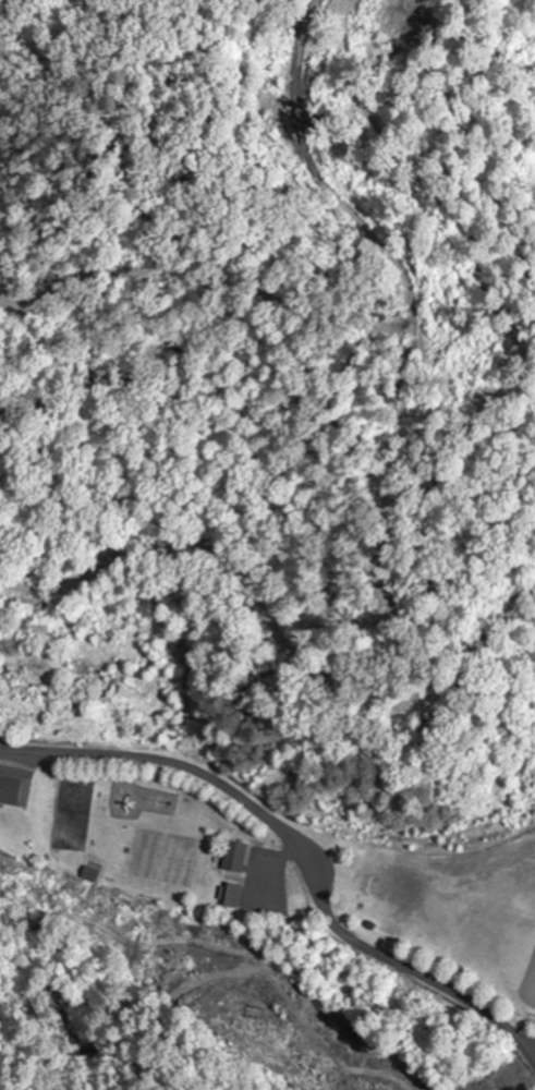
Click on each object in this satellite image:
building: (13, 790)
building: (239, 856)

